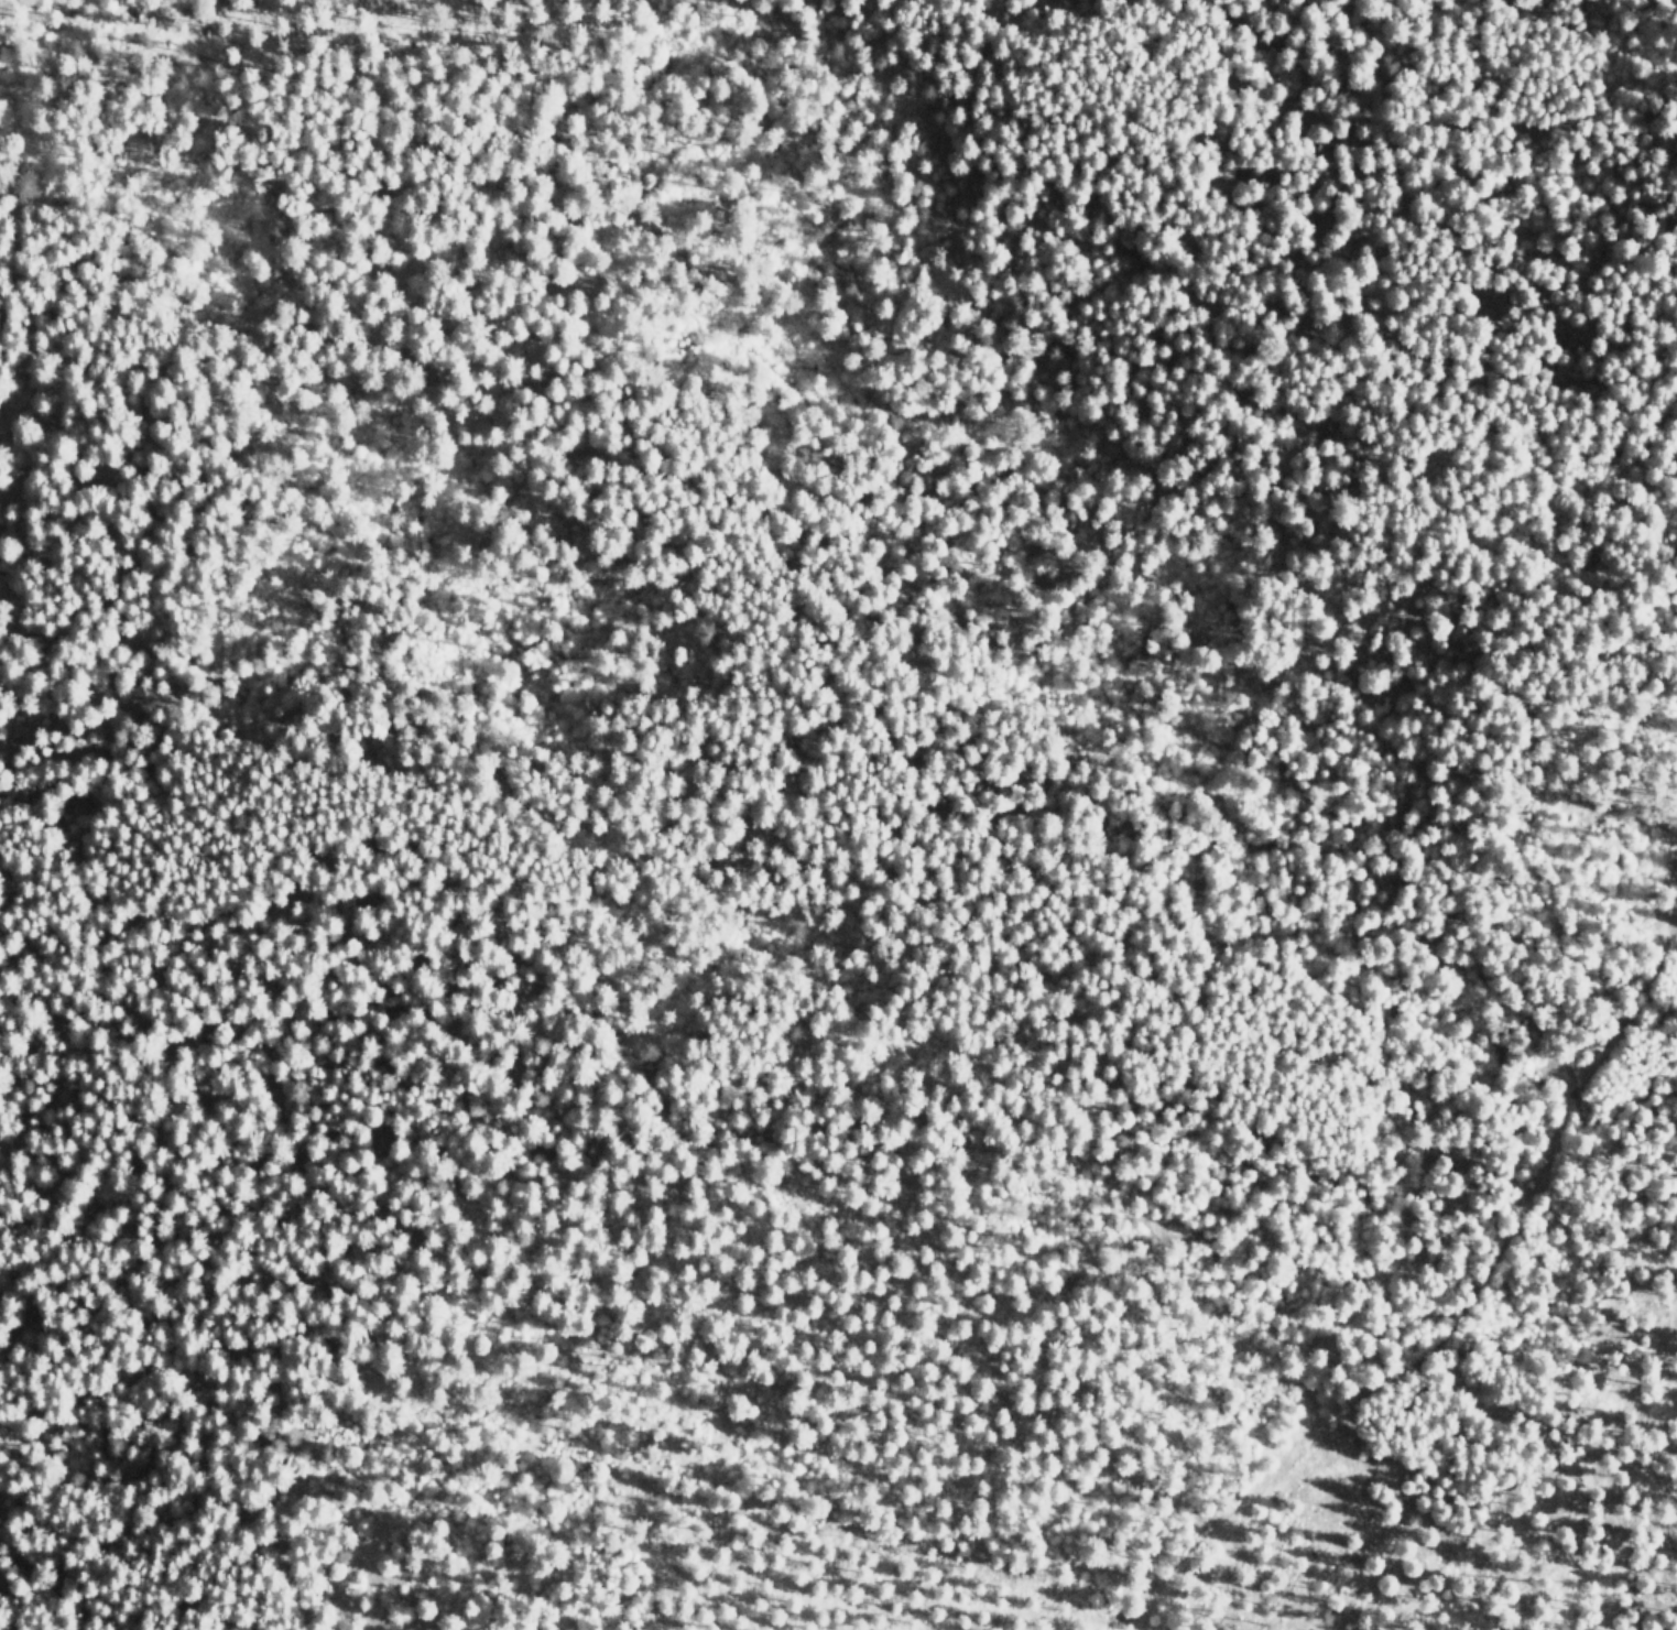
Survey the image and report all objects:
road: (1452, 1307)

